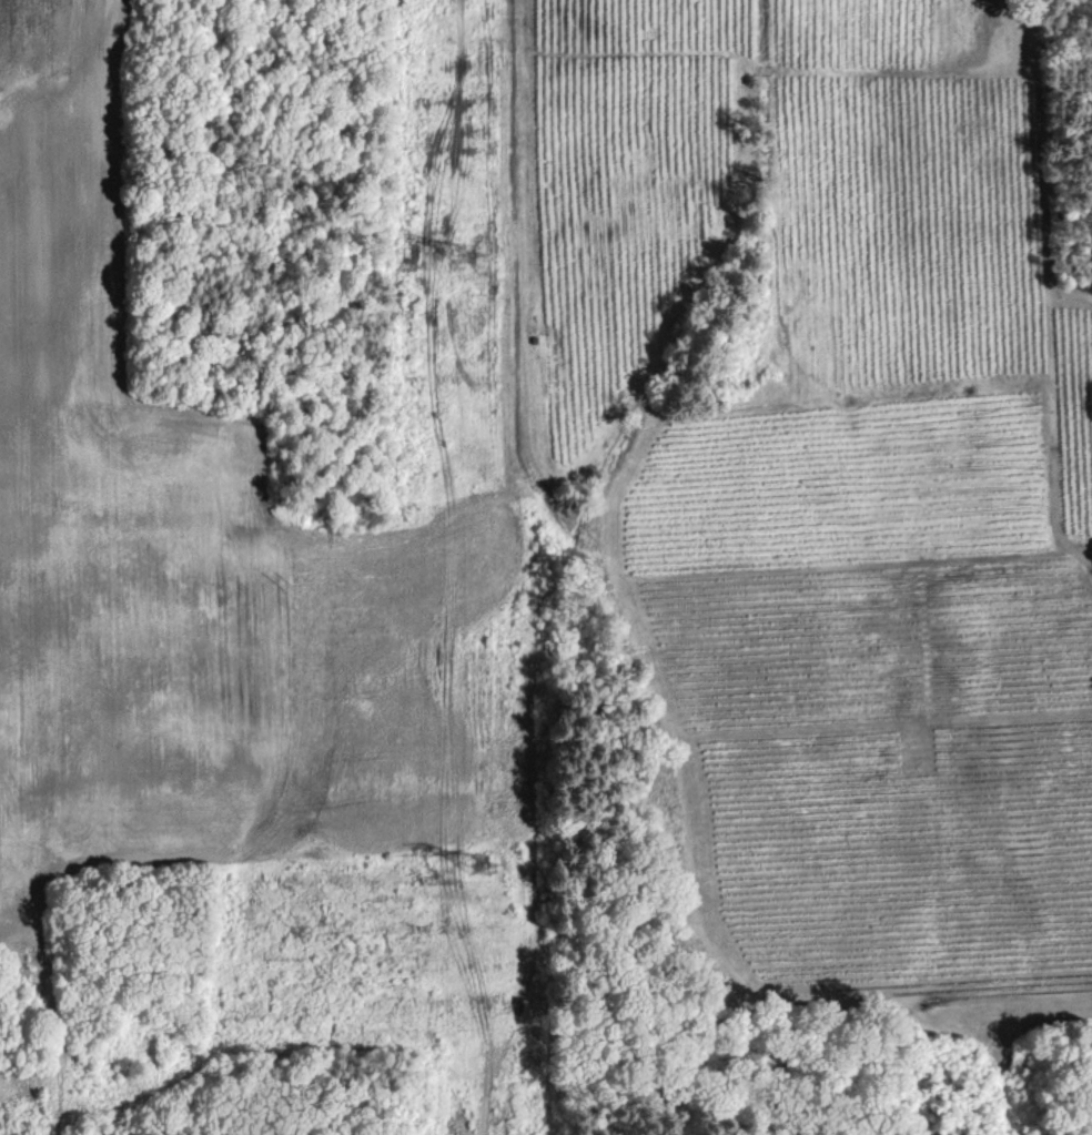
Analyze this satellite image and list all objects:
power tower: (464, 253)
power tower: (489, 865)

